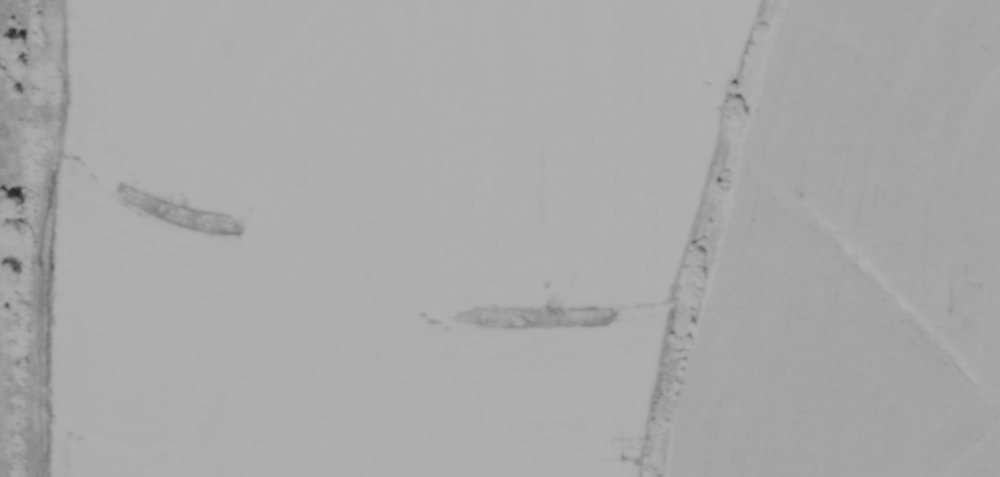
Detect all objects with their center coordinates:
power tower: (636, 461)

